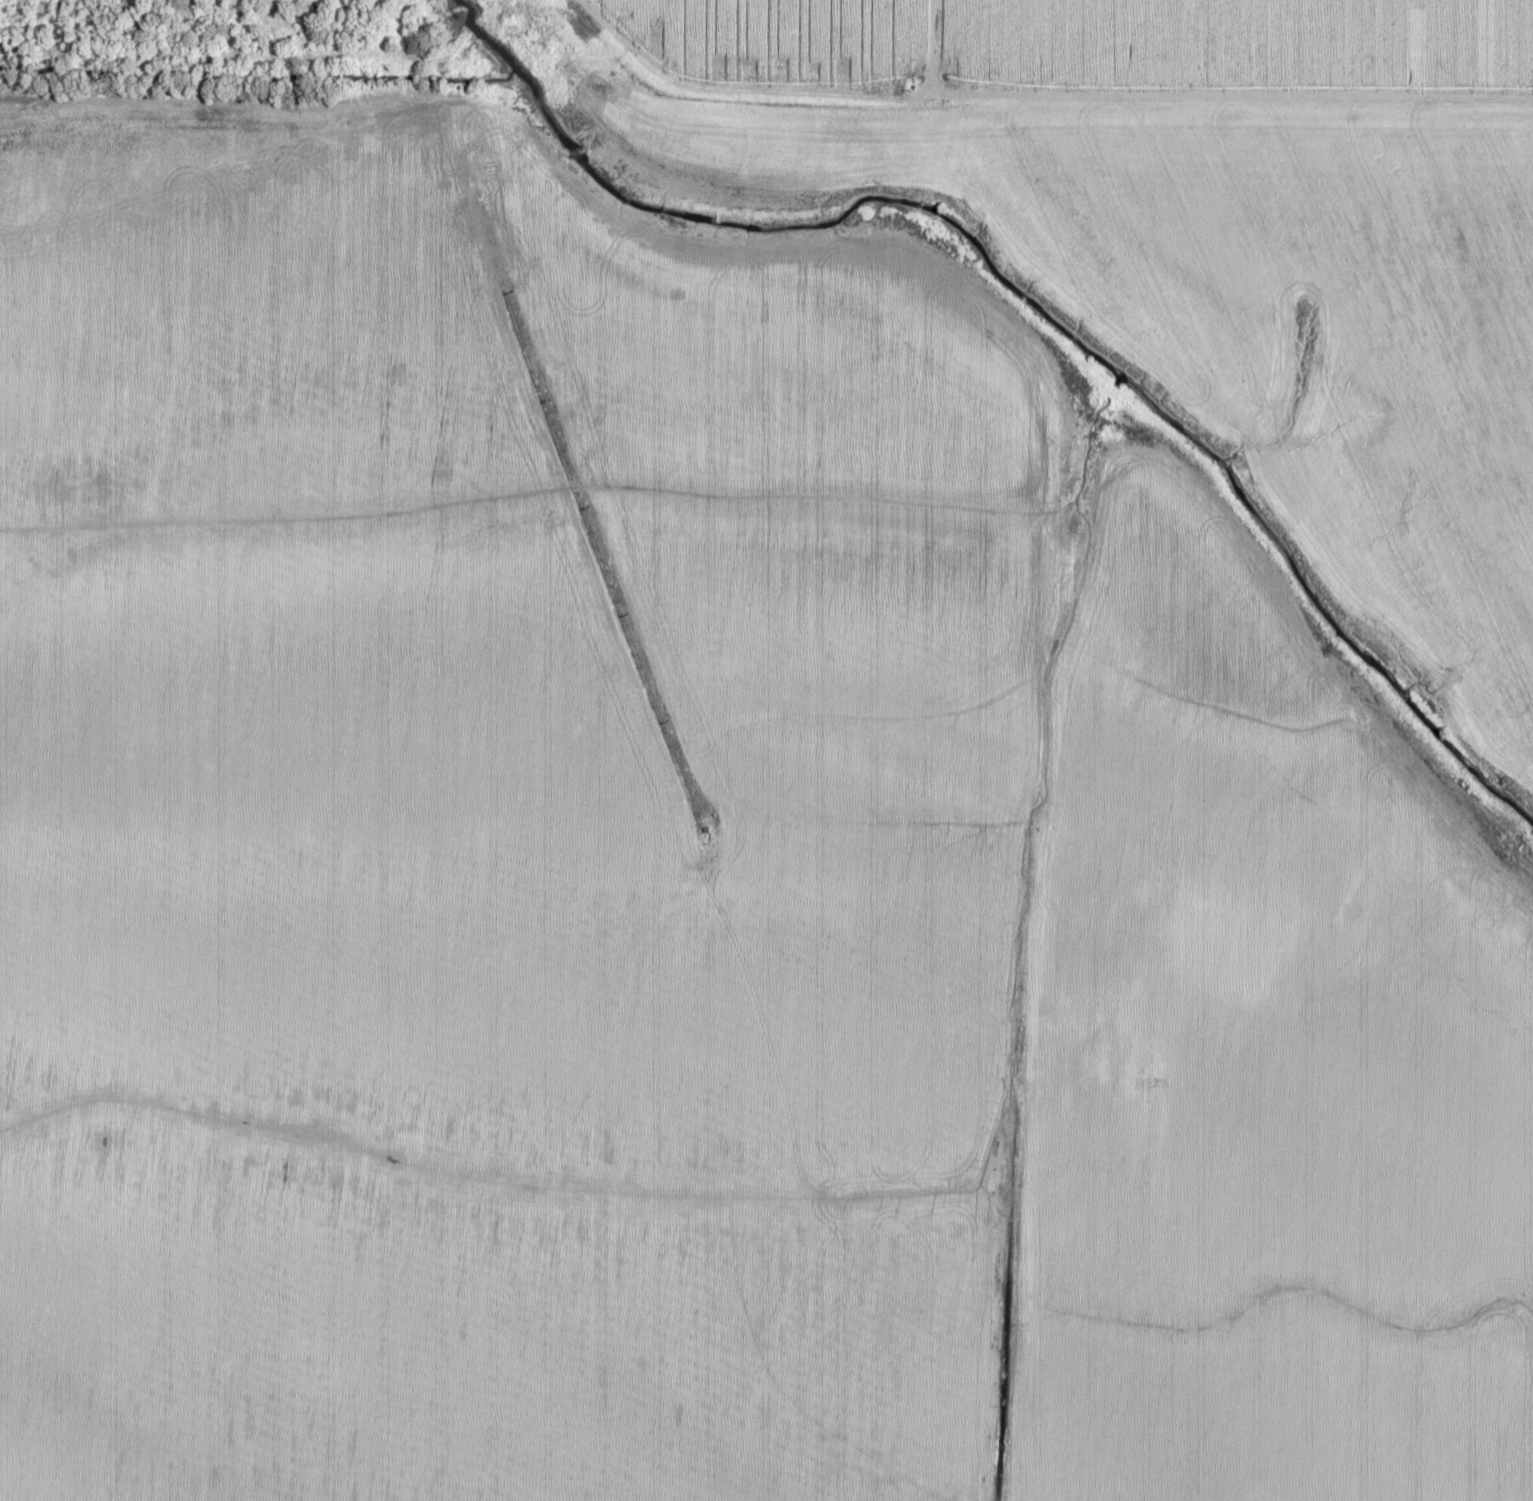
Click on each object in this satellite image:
road: (928, 45)
road: (283, 76)
road: (1042, 93)
road: (1012, 1178)

